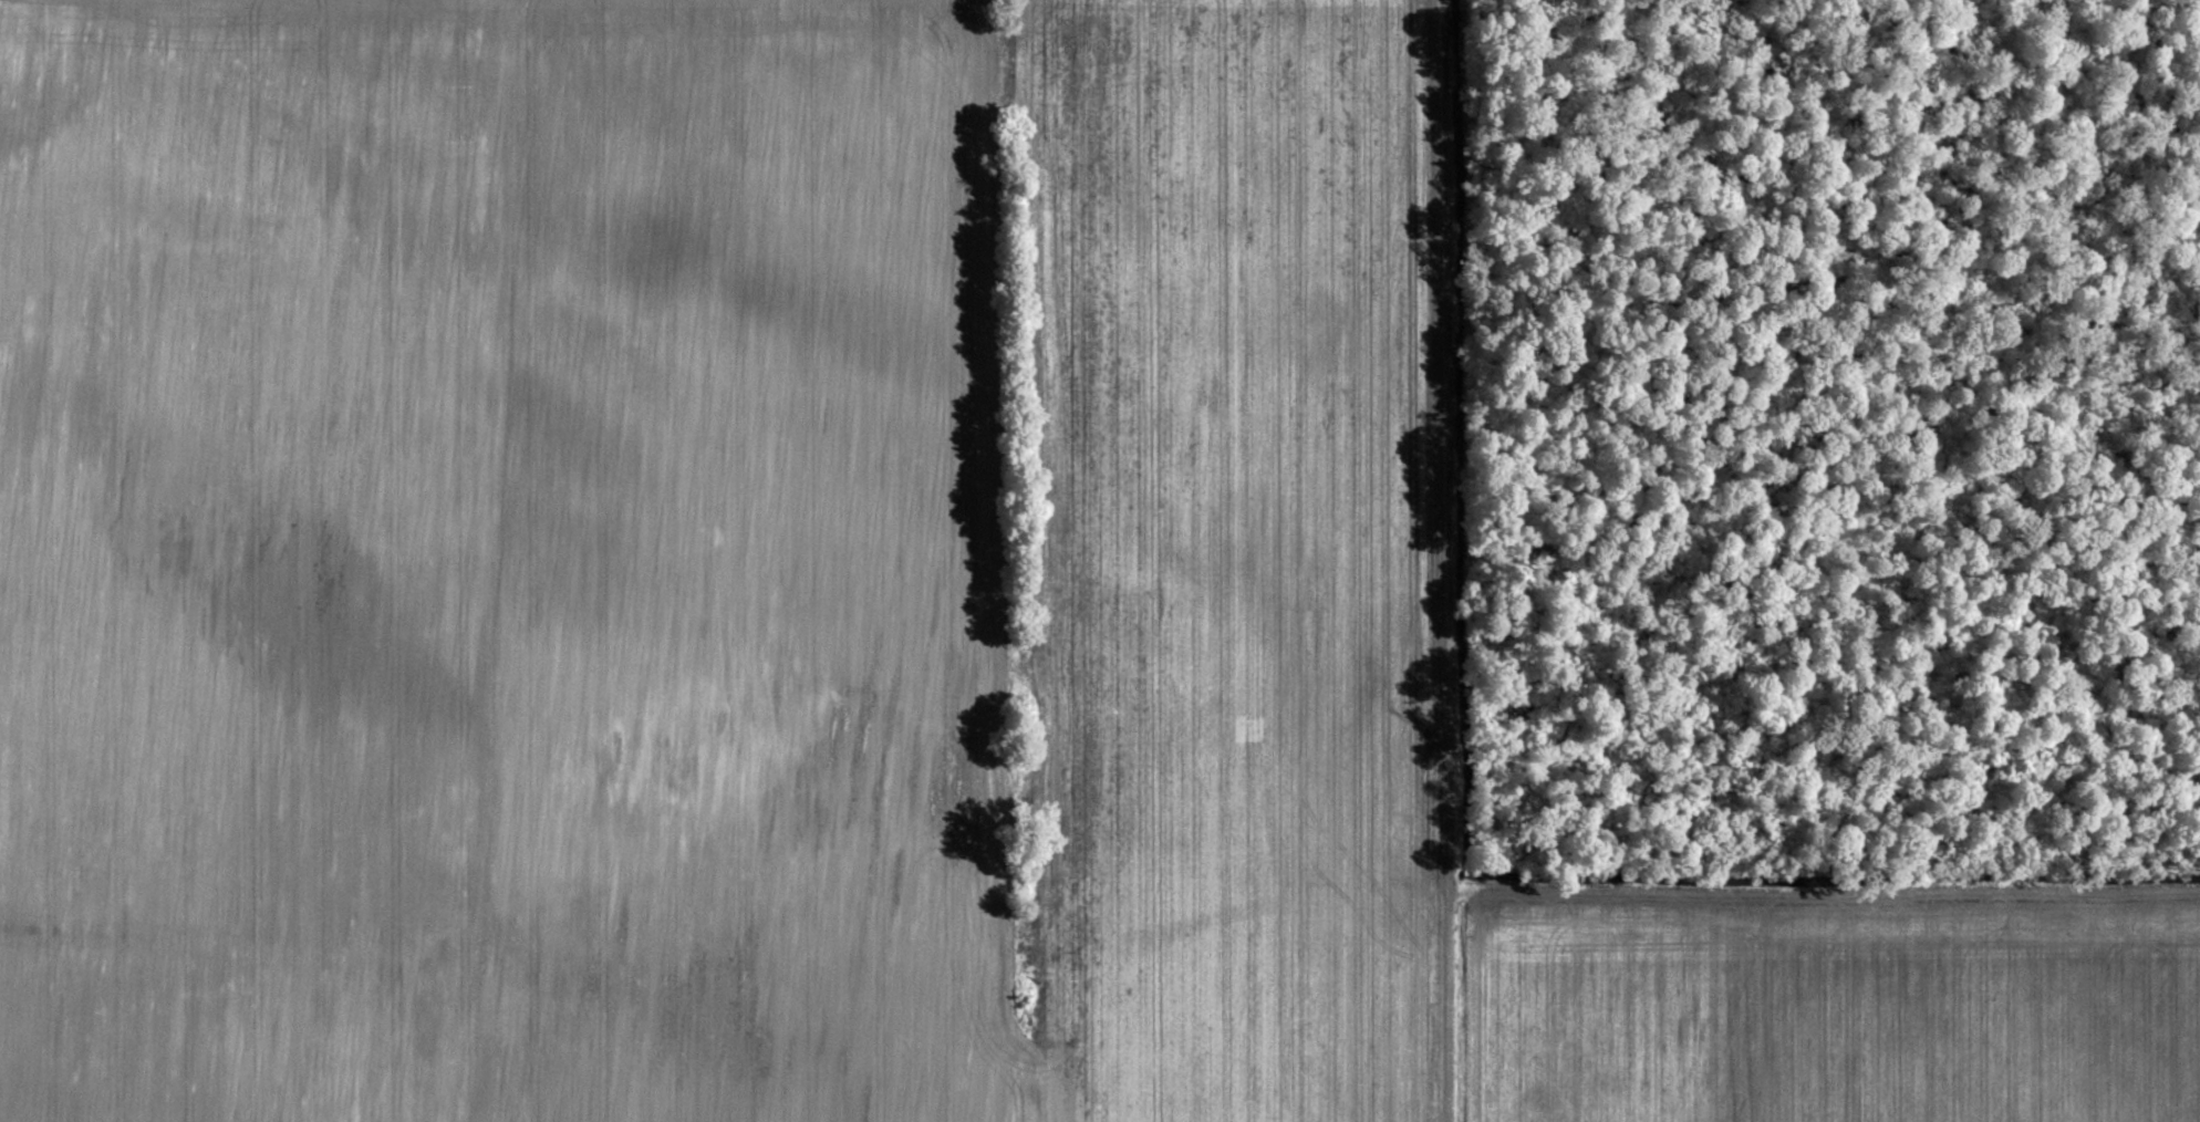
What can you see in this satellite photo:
park: (1836, 428)

